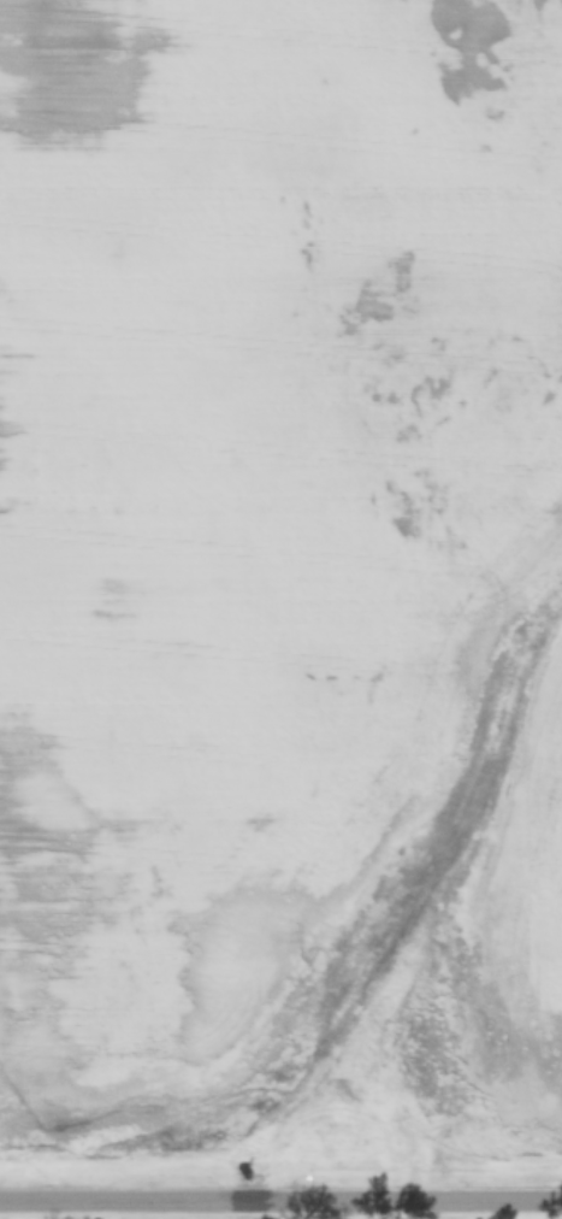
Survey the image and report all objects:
road: (280, 1200)

